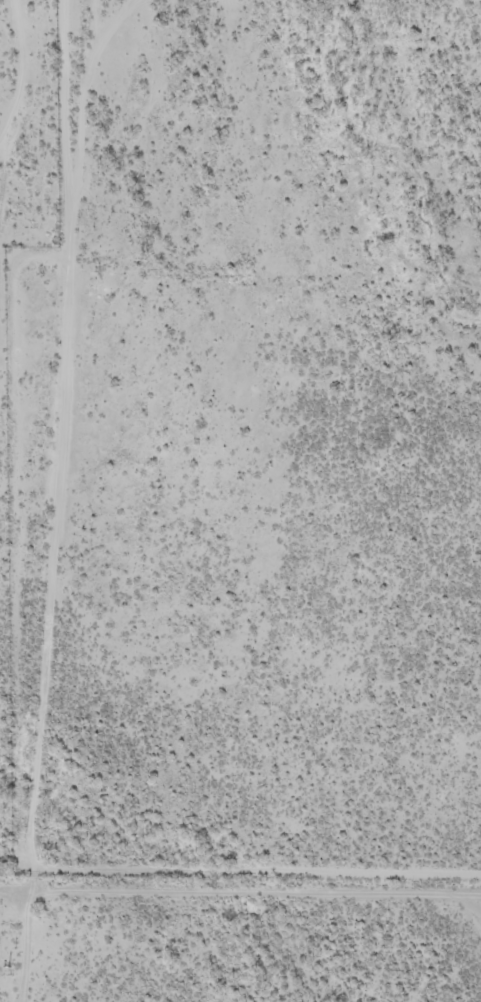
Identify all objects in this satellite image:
road: (259, 16)
road: (14, 275)
road: (240, 885)
road: (95, 930)

